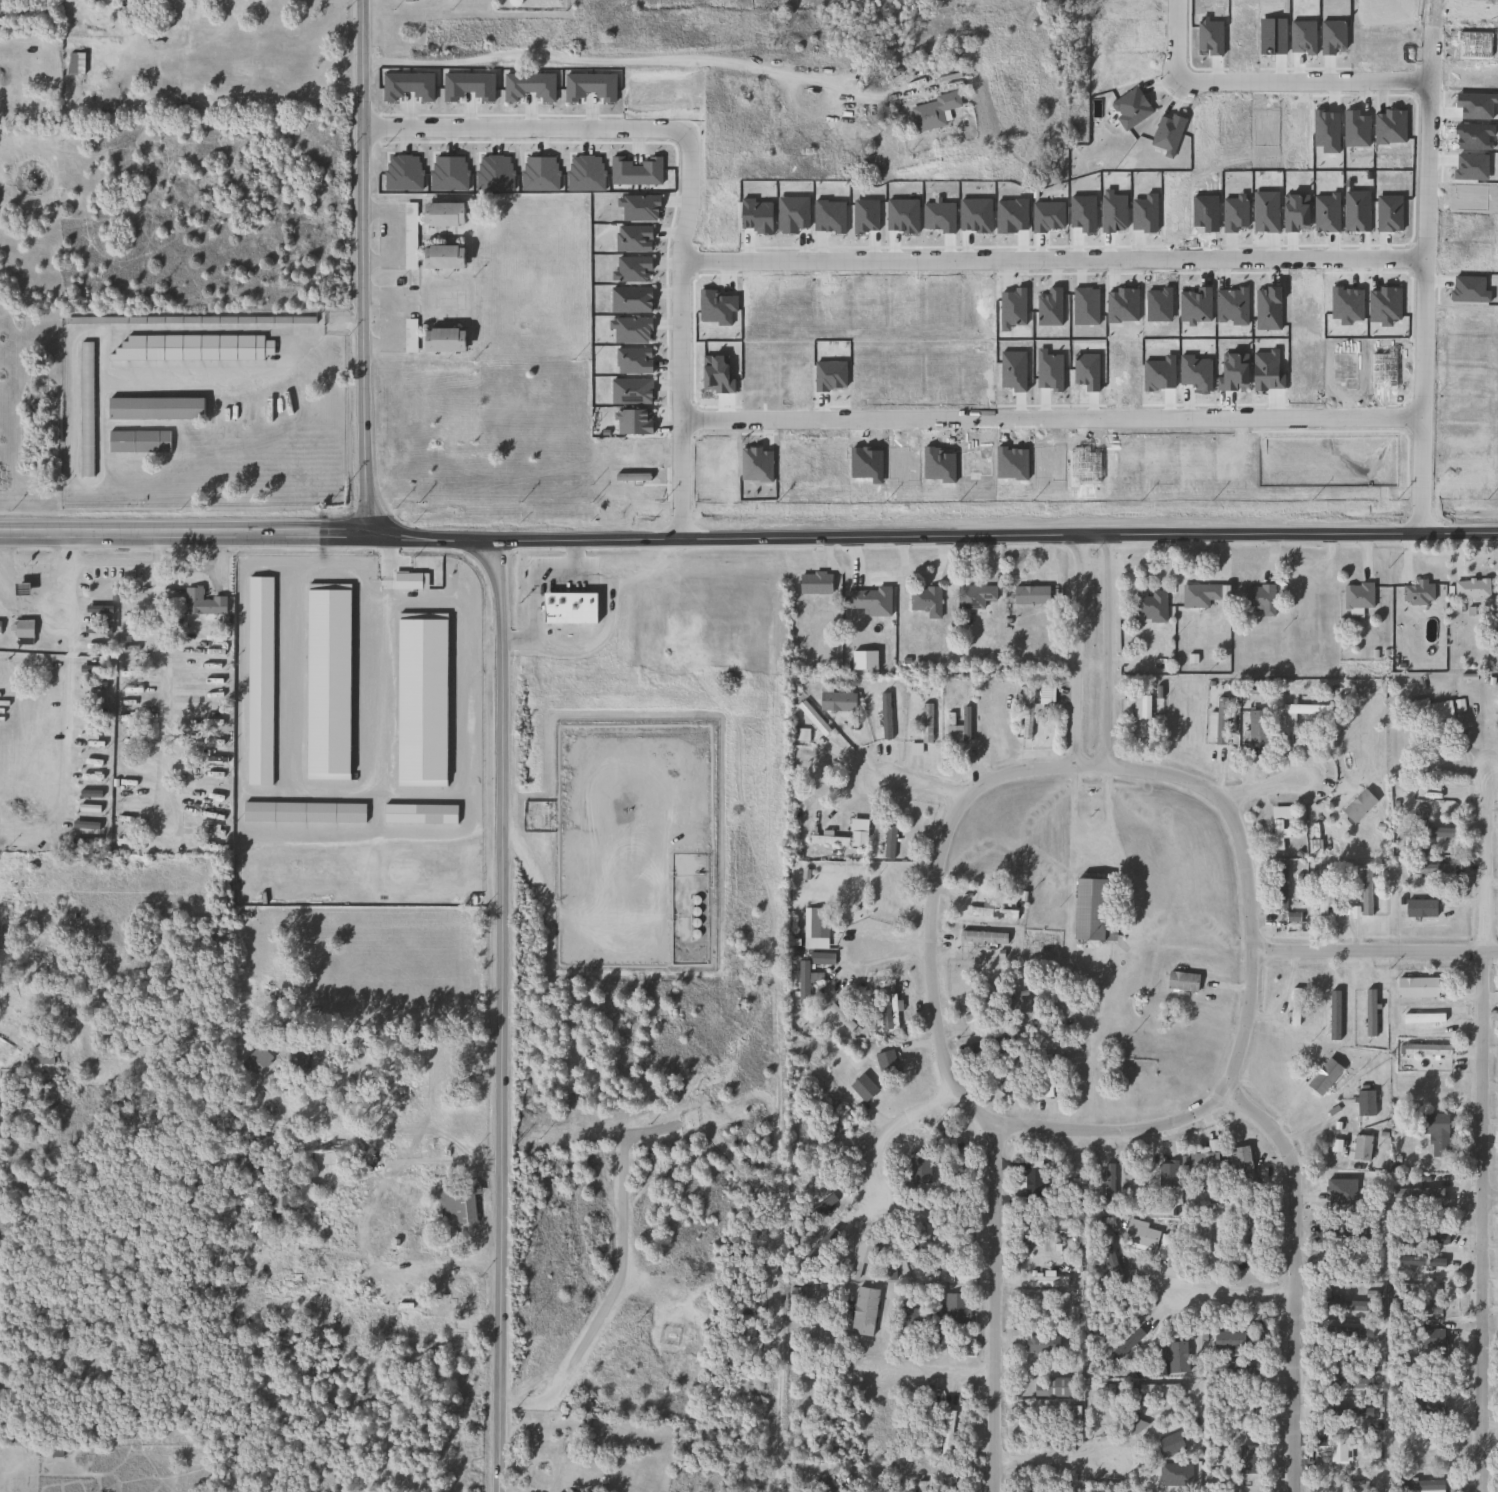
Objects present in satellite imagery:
road: (631, 62)
building: (75, 64)
road: (1258, 82)
building: (932, 111)
road: (525, 128)
building: (441, 214)
building: (409, 236)
building: (441, 256)
road: (1050, 259)
road: (363, 268)
road: (1422, 276)
road: (324, 326)
road: (677, 333)
building: (408, 335)
building: (442, 340)
building: (191, 348)
building: (153, 408)
building: (84, 409)
road: (1048, 418)
building: (138, 441)
road: (748, 539)
road: (2, 550)
road: (110, 562)
building: (813, 583)
building: (1470, 588)
road: (533, 592)
building: (1416, 592)
building: (1029, 595)
building: (1357, 595)
building: (1202, 596)
building: (1258, 598)
building: (972, 599)
building: (869, 600)
road: (19, 601)
building: (200, 603)
building: (924, 603)
building: (1149, 607)
building: (567, 608)
building: (396, 624)
building: (22, 629)
road: (159, 645)
road: (1079, 651)
road: (1109, 651)
road: (64, 669)
building: (1045, 694)
building: (836, 702)
building: (1428, 711)
building: (1298, 712)
building: (1025, 714)
building: (1140, 718)
building: (813, 719)
building: (1219, 721)
building: (925, 723)
building: (1256, 727)
building: (955, 733)
road: (891, 770)
road: (1263, 785)
building: (1357, 806)
building: (1275, 826)
road: (947, 828)
building: (1431, 830)
building: (857, 839)
building: (826, 840)
building: (888, 842)
building: (1426, 870)
building: (1279, 887)
building: (1365, 892)
building: (886, 894)
building: (1322, 896)
road: (232, 907)
building: (1089, 910)
building: (992, 912)
building: (814, 927)
building: (982, 937)
road: (881, 947)
road: (1374, 950)
building: (1181, 981)
building: (1416, 987)
building: (886, 1006)
building: (1293, 1011)
road: (501, 1016)
building: (840, 1017)
building: (976, 1019)
building: (992, 1043)
building: (1426, 1050)
building: (41, 1055)
building: (295, 1061)
road: (1235, 1067)
building: (1010, 1074)
building: (1045, 1075)
building: (1323, 1076)
building: (406, 1077)
building: (1364, 1103)
road: (894, 1122)
road: (1483, 1129)
building: (1435, 1133)
building: (1360, 1147)
building: (951, 1154)
building: (322, 1158)
building: (1204, 1158)
road: (435, 1161)
building: (1241, 1167)
building: (1032, 1182)
building: (1108, 1188)
road: (1490, 1192)
building: (278, 1202)
building: (457, 1203)
building: (1139, 1235)
building: (1252, 1235)
building: (1209, 1237)
building: (859, 1257)
building: (1431, 1257)
road: (1295, 1276)
road: (1231, 1289)
building: (796, 1293)
building: (404, 1302)
building: (1341, 1305)
road: (993, 1306)
building: (954, 1307)
building: (863, 1311)
building: (911, 1316)
building: (938, 1333)
building: (1227, 1339)
building: (1037, 1343)
building: (1232, 1368)
road: (933, 1370)
building: (1349, 1383)
building: (1057, 1386)
building: (1152, 1388)
building: (1106, 1389)
building: (793, 1401)
building: (876, 1426)
building: (1134, 1426)
building: (945, 1432)
building: (1426, 1444)
building: (1337, 1448)
building: (54, 1451)
road: (1052, 1456)
building: (948, 1484)
building: (1419, 1485)
building: (879, 1486)
building: (921, 1486)

